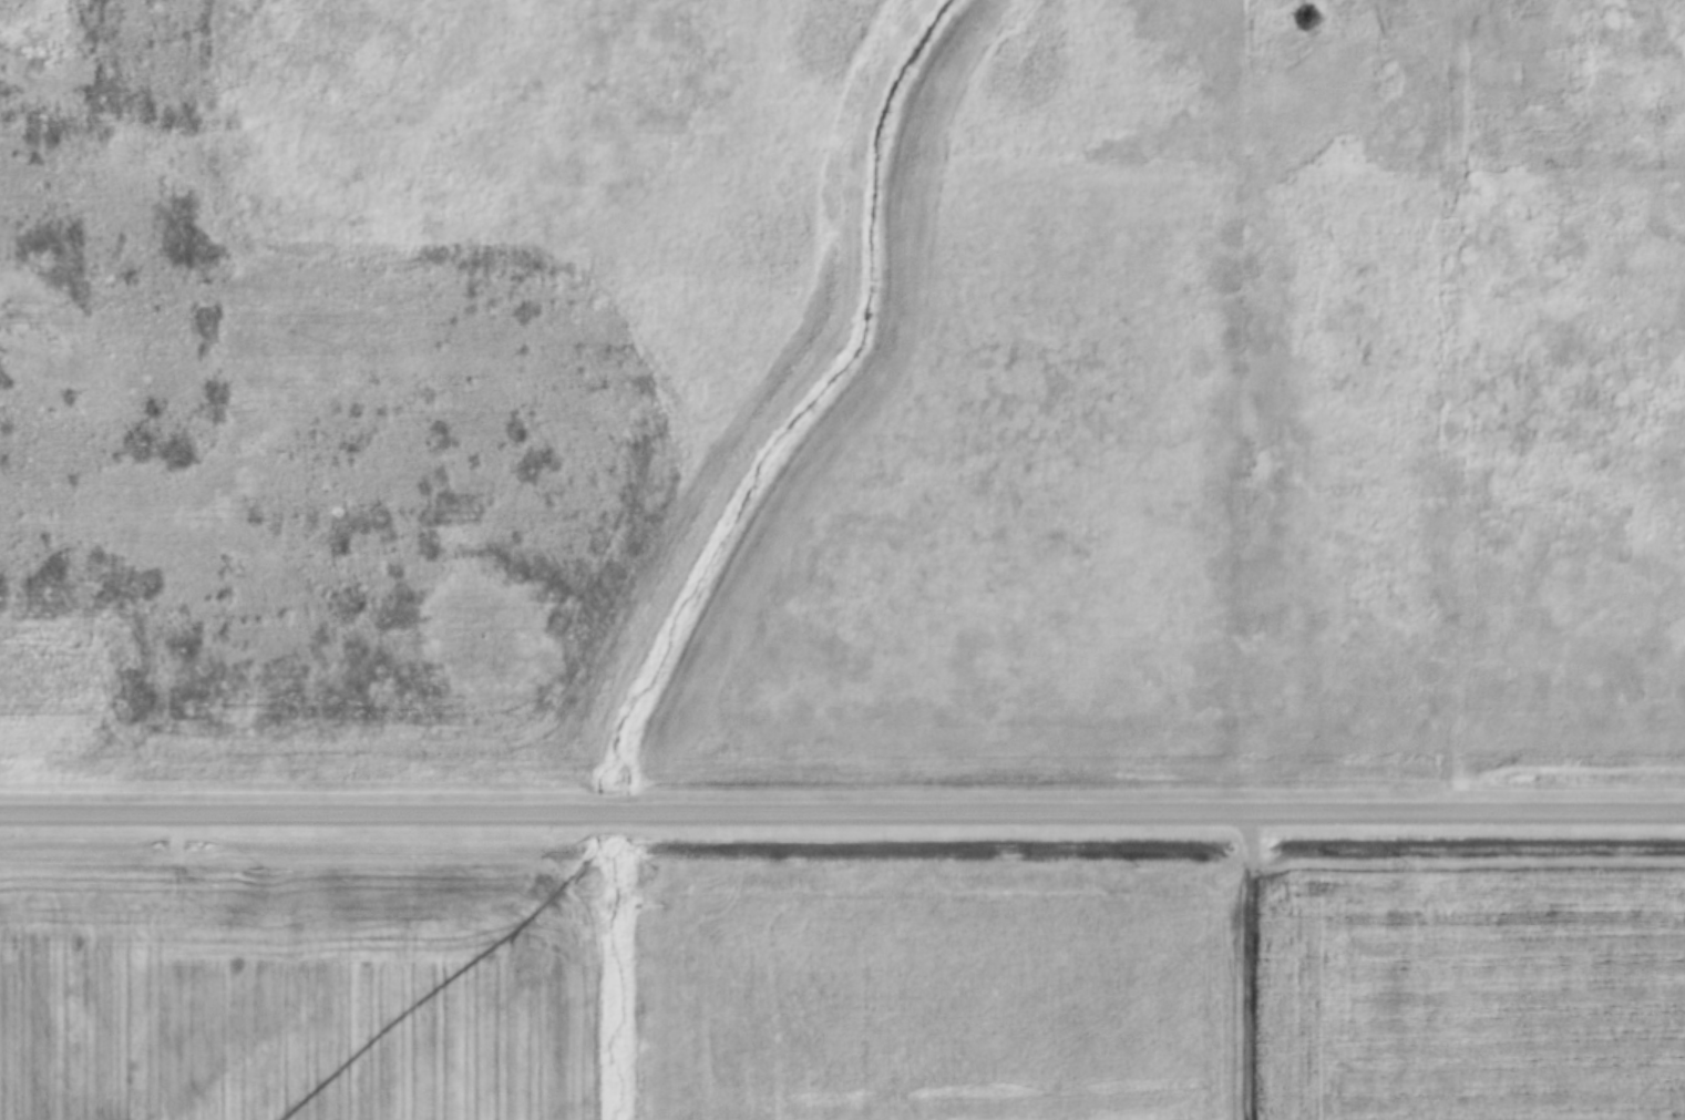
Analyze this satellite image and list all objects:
road: (842, 820)

